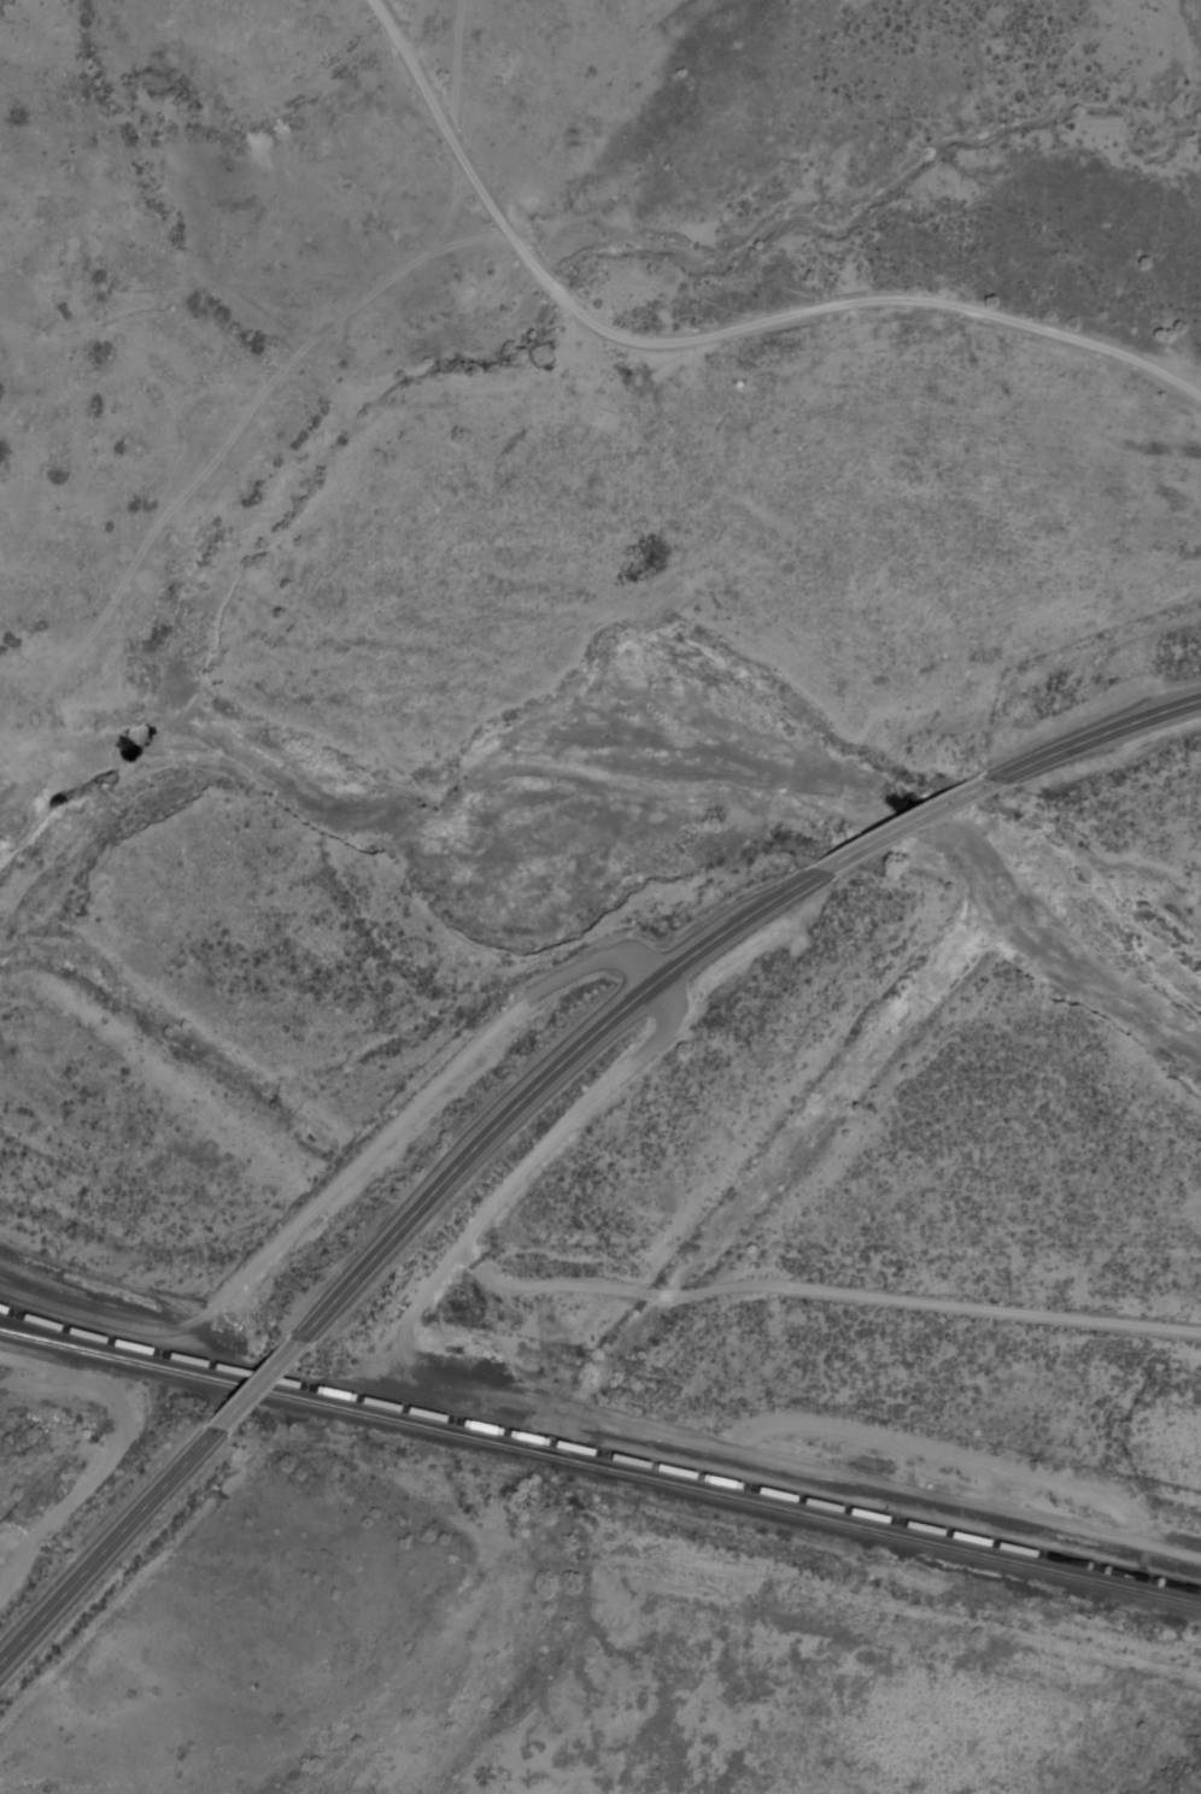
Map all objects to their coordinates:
road: (452, 71)
quarry: (183, 188)
road: (680, 341)
road: (1178, 388)
road: (1096, 734)
road: (903, 827)
road: (609, 958)
road: (532, 1085)
road: (821, 1292)
railway: (260, 1377)
road: (248, 1388)
railway: (257, 1389)
road: (599, 1415)
railway: (547, 1441)
building: (551, 1446)
railway: (540, 1453)
railway: (885, 1515)
railway: (883, 1531)
road: (101, 1546)

